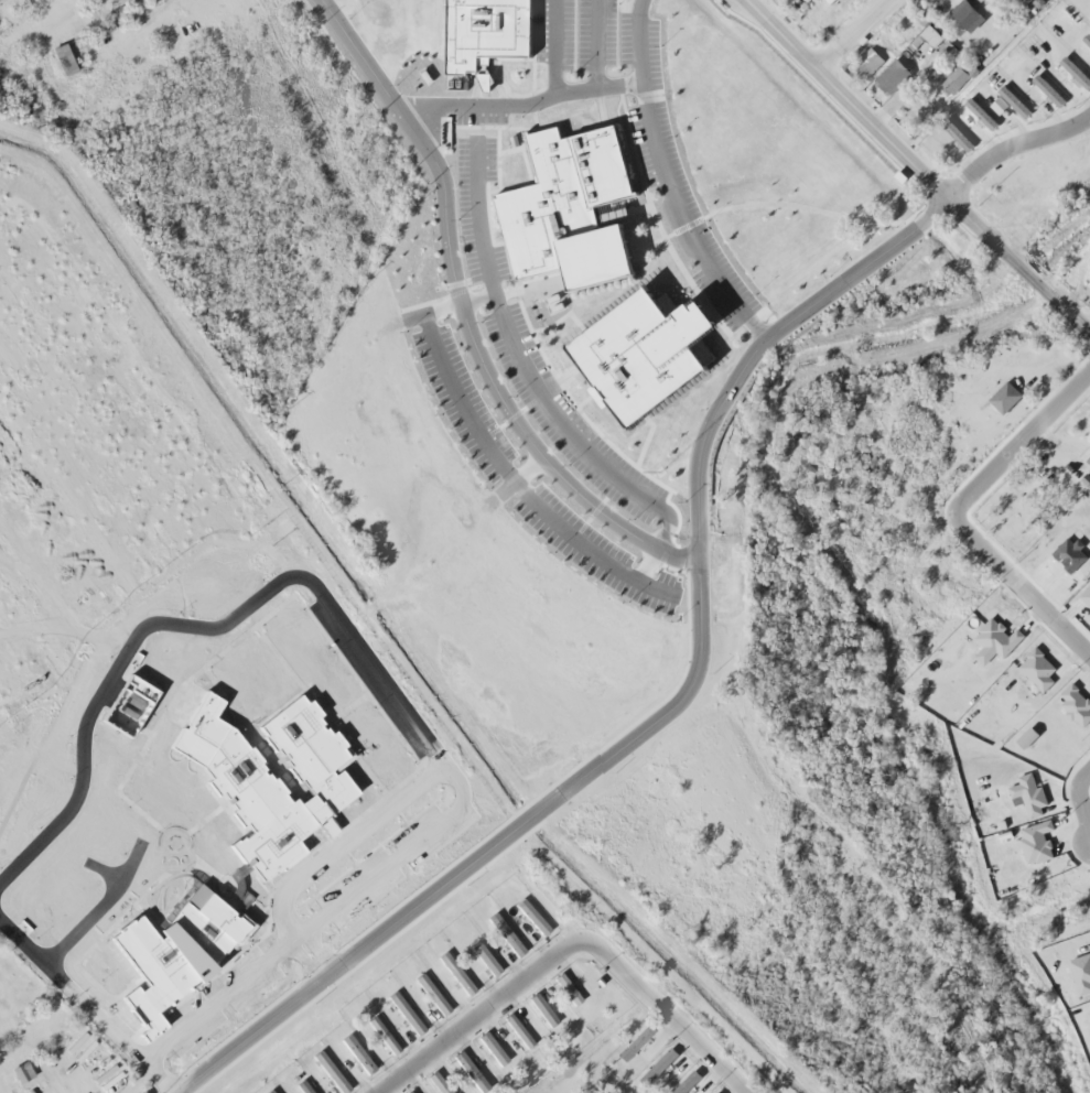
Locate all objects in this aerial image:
building: (963, 11)
building: (482, 29)
road: (844, 35)
building: (1084, 36)
building: (935, 40)
building: (62, 55)
building: (863, 58)
building: (1071, 67)
building: (888, 72)
building: (1044, 85)
building: (1010, 96)
road: (514, 106)
building: (976, 108)
building: (951, 129)
road: (1008, 144)
road: (909, 169)
road: (662, 181)
building: (596, 273)
road: (458, 314)
building: (1001, 392)
building: (1087, 409)
road: (952, 519)
road: (668, 706)
road: (1081, 803)
building: (530, 913)
building: (504, 931)
road: (562, 948)
building: (483, 954)
building: (453, 968)
building: (563, 986)
building: (429, 991)
building: (540, 1006)
building: (403, 1009)
building: (515, 1026)
building: (380, 1031)
building: (632, 1038)
building: (489, 1045)
building: (354, 1049)
building: (652, 1062)
building: (19, 1068)
building: (328, 1068)
building: (467, 1068)
building: (680, 1080)
building: (436, 1081)
building: (302, 1085)
building: (267, 1090)
building: (404, 1091)
building: (712, 1091)

